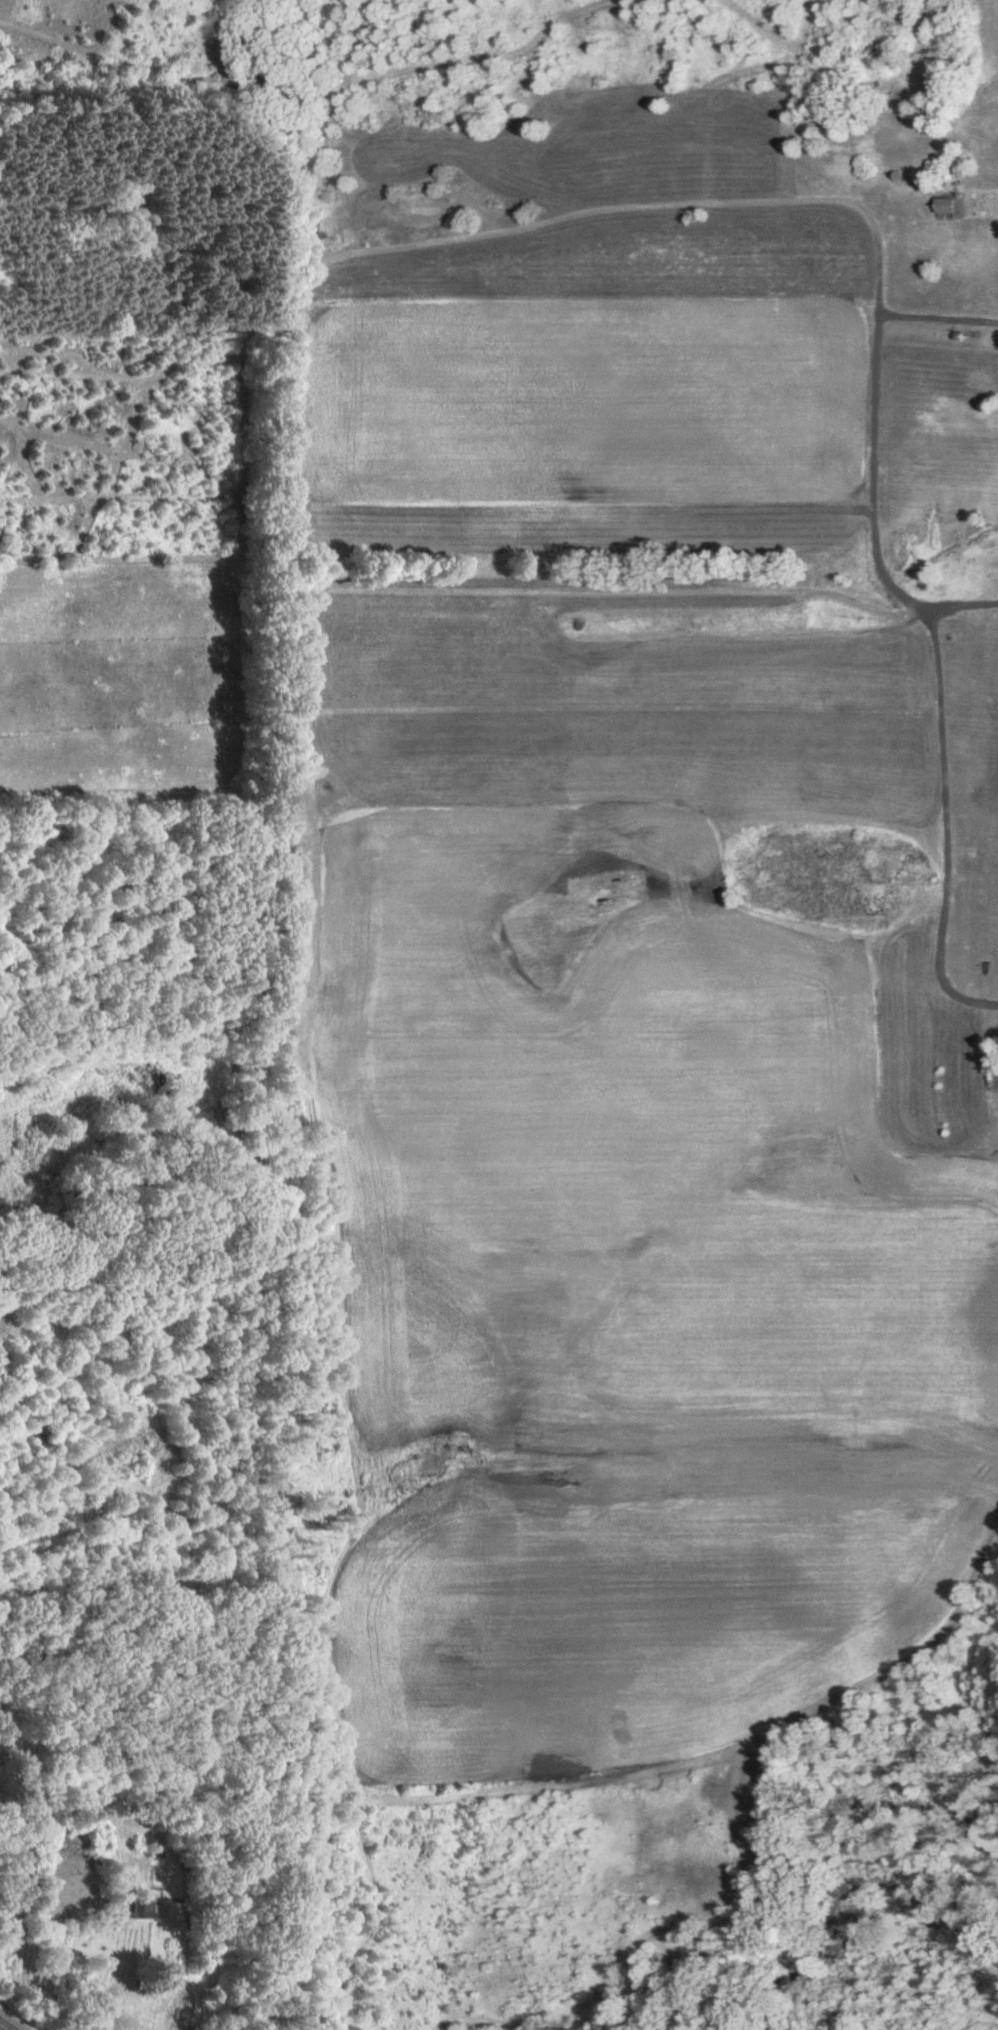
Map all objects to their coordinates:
road: (872, 415)
road: (940, 789)
building: (139, 1909)
road: (2, 2028)

